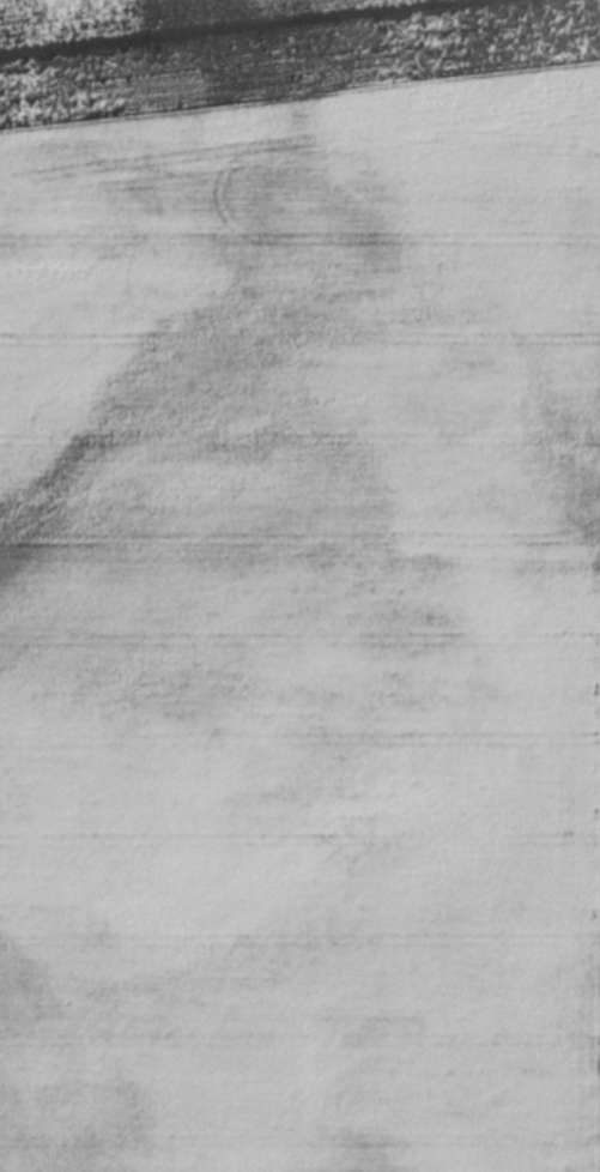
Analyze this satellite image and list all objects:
crop: (299, 586)

